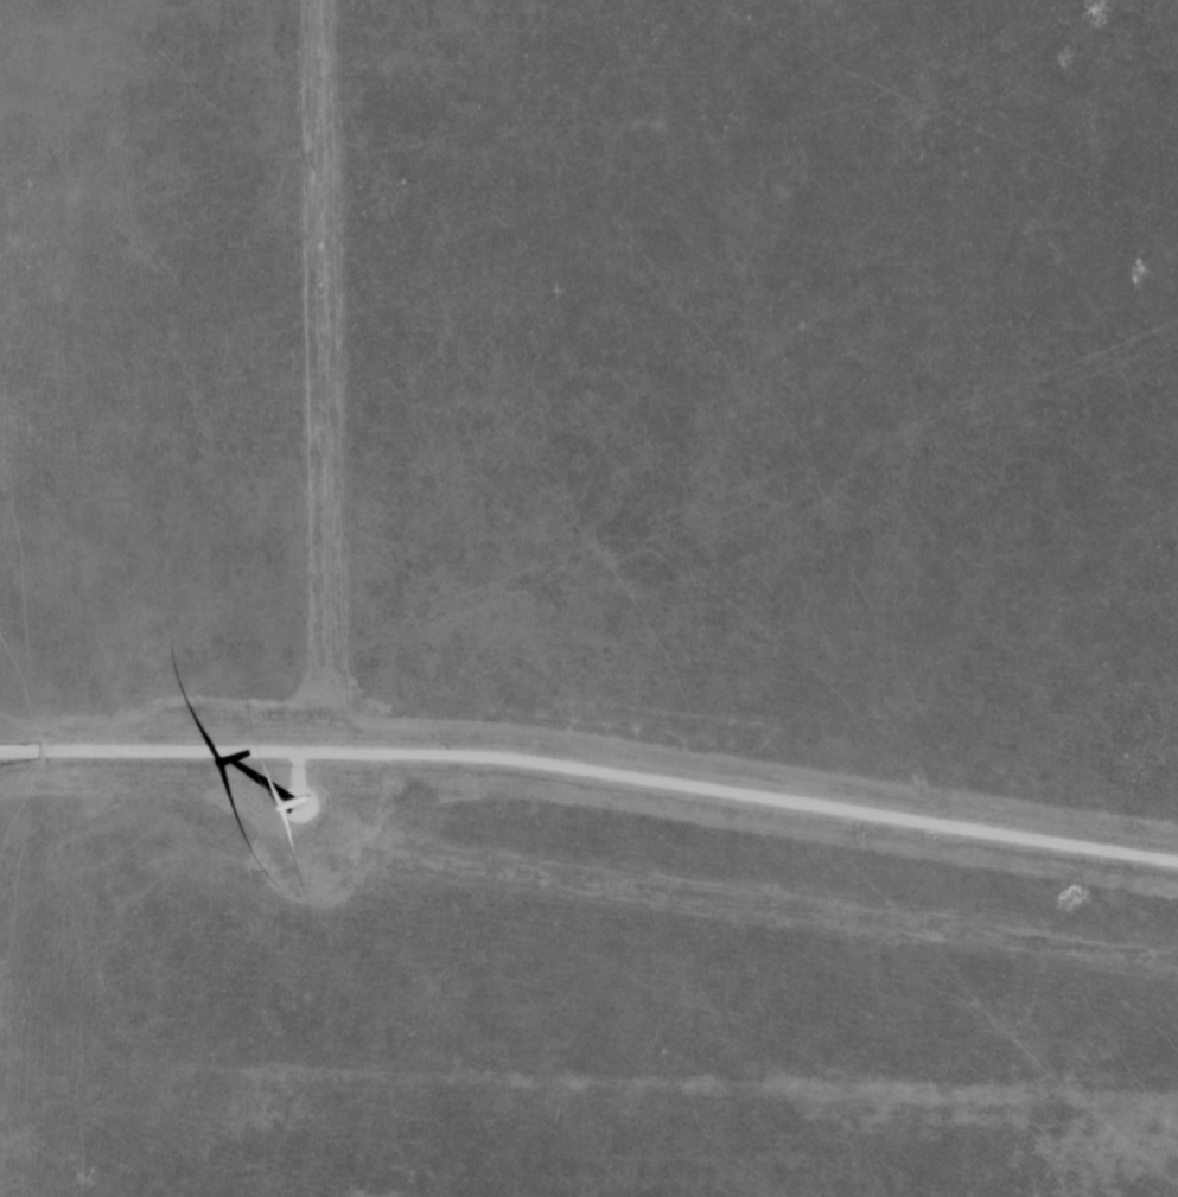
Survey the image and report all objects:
wind turbine: (298, 806)

